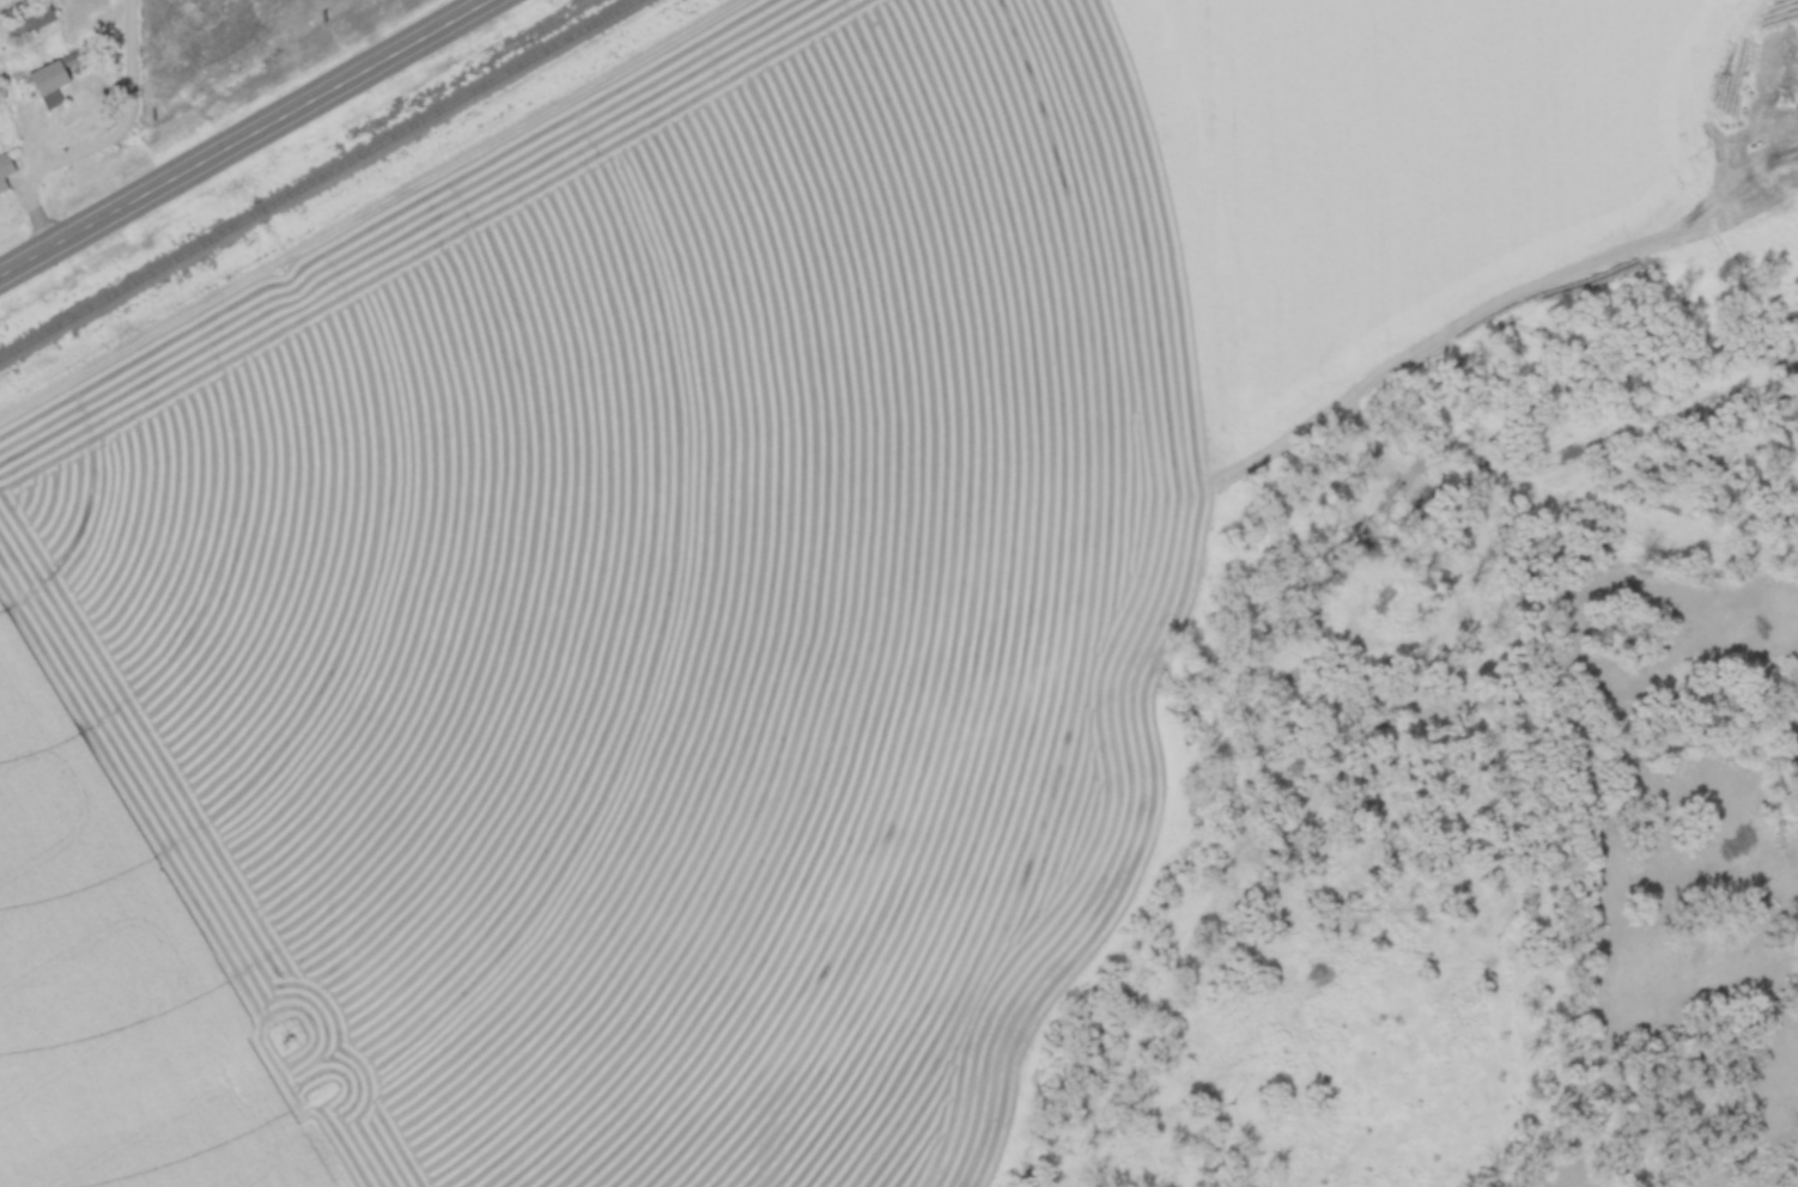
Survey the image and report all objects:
building: (30, 20)
building: (50, 84)
road: (243, 138)
road: (104, 140)
building: (5, 170)
railway: (321, 182)

